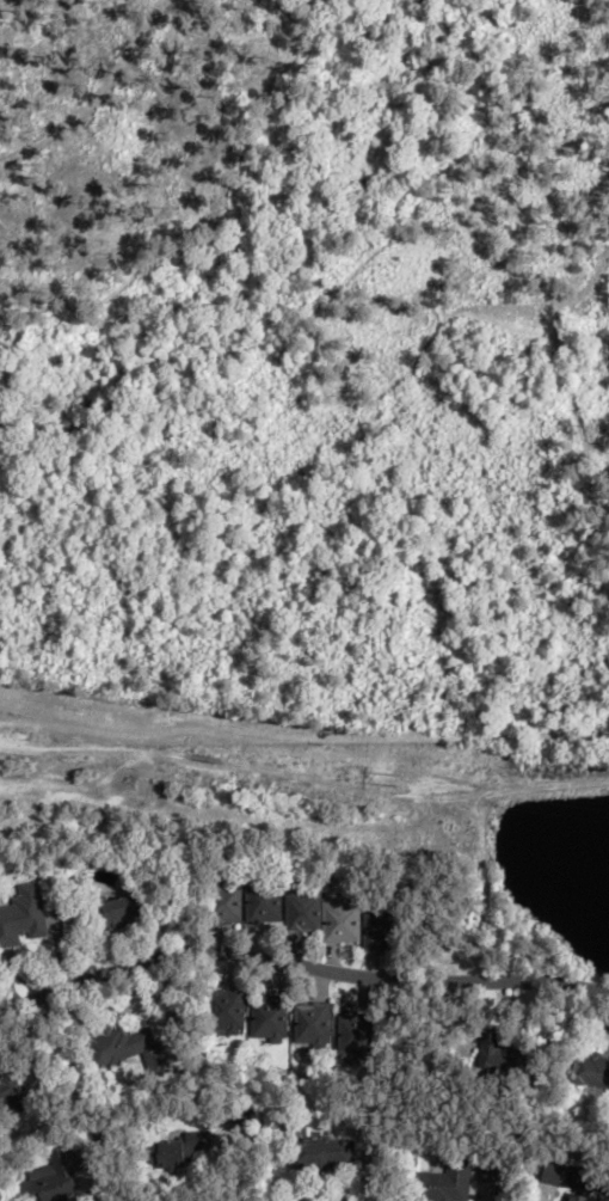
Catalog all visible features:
building: (262, 902)
building: (222, 903)
building: (121, 912)
building: (321, 914)
building: (23, 917)
building: (379, 931)
road: (299, 962)
building: (223, 1012)
building: (266, 1018)
building: (309, 1024)
building: (352, 1035)
building: (125, 1048)
building: (499, 1053)
building: (590, 1071)
building: (10, 1091)
building: (174, 1150)
building: (319, 1152)
building: (553, 1175)
building: (50, 1179)
building: (439, 1183)
building: (572, 1197)

